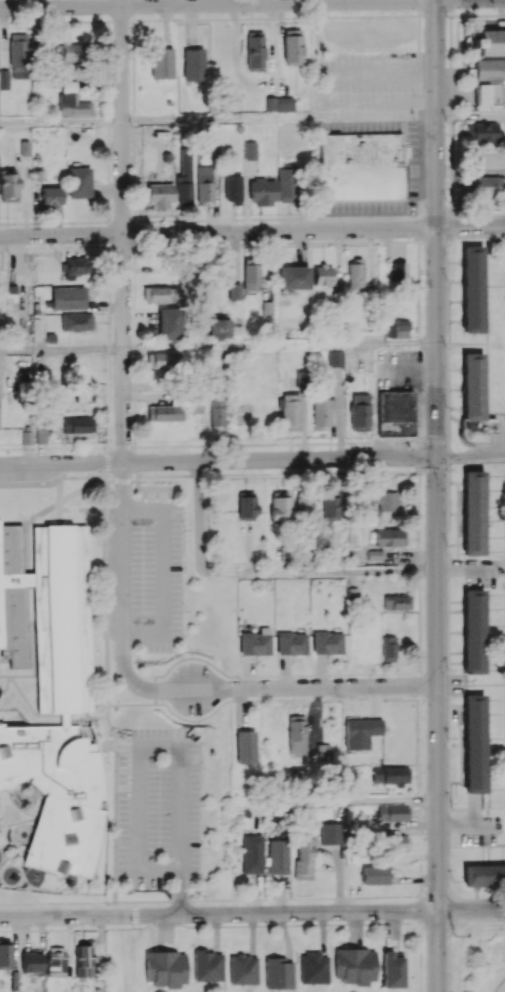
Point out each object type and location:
road: (217, 4)
building: (489, 42)
building: (292, 46)
building: (79, 51)
building: (254, 51)
building: (19, 55)
building: (161, 63)
building: (193, 64)
building: (489, 69)
building: (4, 79)
building: (489, 94)
building: (73, 101)
building: (279, 104)
road: (279, 118)
road: (61, 120)
building: (480, 132)
building: (250, 150)
building: (360, 166)
building: (184, 179)
building: (78, 182)
building: (204, 183)
building: (8, 185)
building: (286, 185)
building: (233, 186)
building: (488, 186)
building: (262, 191)
building: (159, 195)
building: (51, 196)
road: (252, 231)
road: (122, 232)
building: (73, 267)
building: (397, 271)
building: (251, 273)
building: (355, 273)
building: (323, 274)
building: (293, 277)
building: (472, 289)
building: (234, 291)
building: (162, 294)
building: (67, 297)
building: (76, 321)
building: (168, 324)
building: (220, 328)
building: (396, 328)
road: (279, 346)
road: (61, 349)
building: (335, 358)
building: (163, 360)
building: (474, 399)
building: (216, 411)
building: (321, 411)
building: (164, 412)
building: (290, 412)
building: (359, 412)
building: (395, 412)
building: (77, 425)
building: (26, 437)
road: (471, 457)
road: (218, 461)
road: (437, 495)
building: (382, 500)
building: (245, 505)
building: (302, 505)
building: (278, 506)
building: (329, 508)
building: (473, 512)
building: (390, 537)
road: (267, 571)
road: (162, 574)
road: (118, 584)
building: (396, 602)
building: (473, 631)
building: (327, 642)
building: (254, 643)
building: (291, 643)
building: (387, 648)
road: (314, 689)
road: (171, 690)
building: (361, 732)
building: (296, 734)
building: (473, 743)
road: (164, 746)
building: (245, 747)
building: (323, 751)
building: (390, 775)
building: (393, 812)
building: (331, 833)
building: (397, 842)
building: (252, 854)
building: (277, 856)
building: (304, 858)
building: (374, 875)
building: (484, 875)
road: (252, 913)
building: (5, 954)
park: (476, 955)
building: (55, 961)
building: (83, 961)
building: (32, 962)
building: (207, 965)
building: (355, 965)
building: (165, 968)
building: (313, 968)
building: (242, 969)
building: (392, 970)
building: (277, 973)

